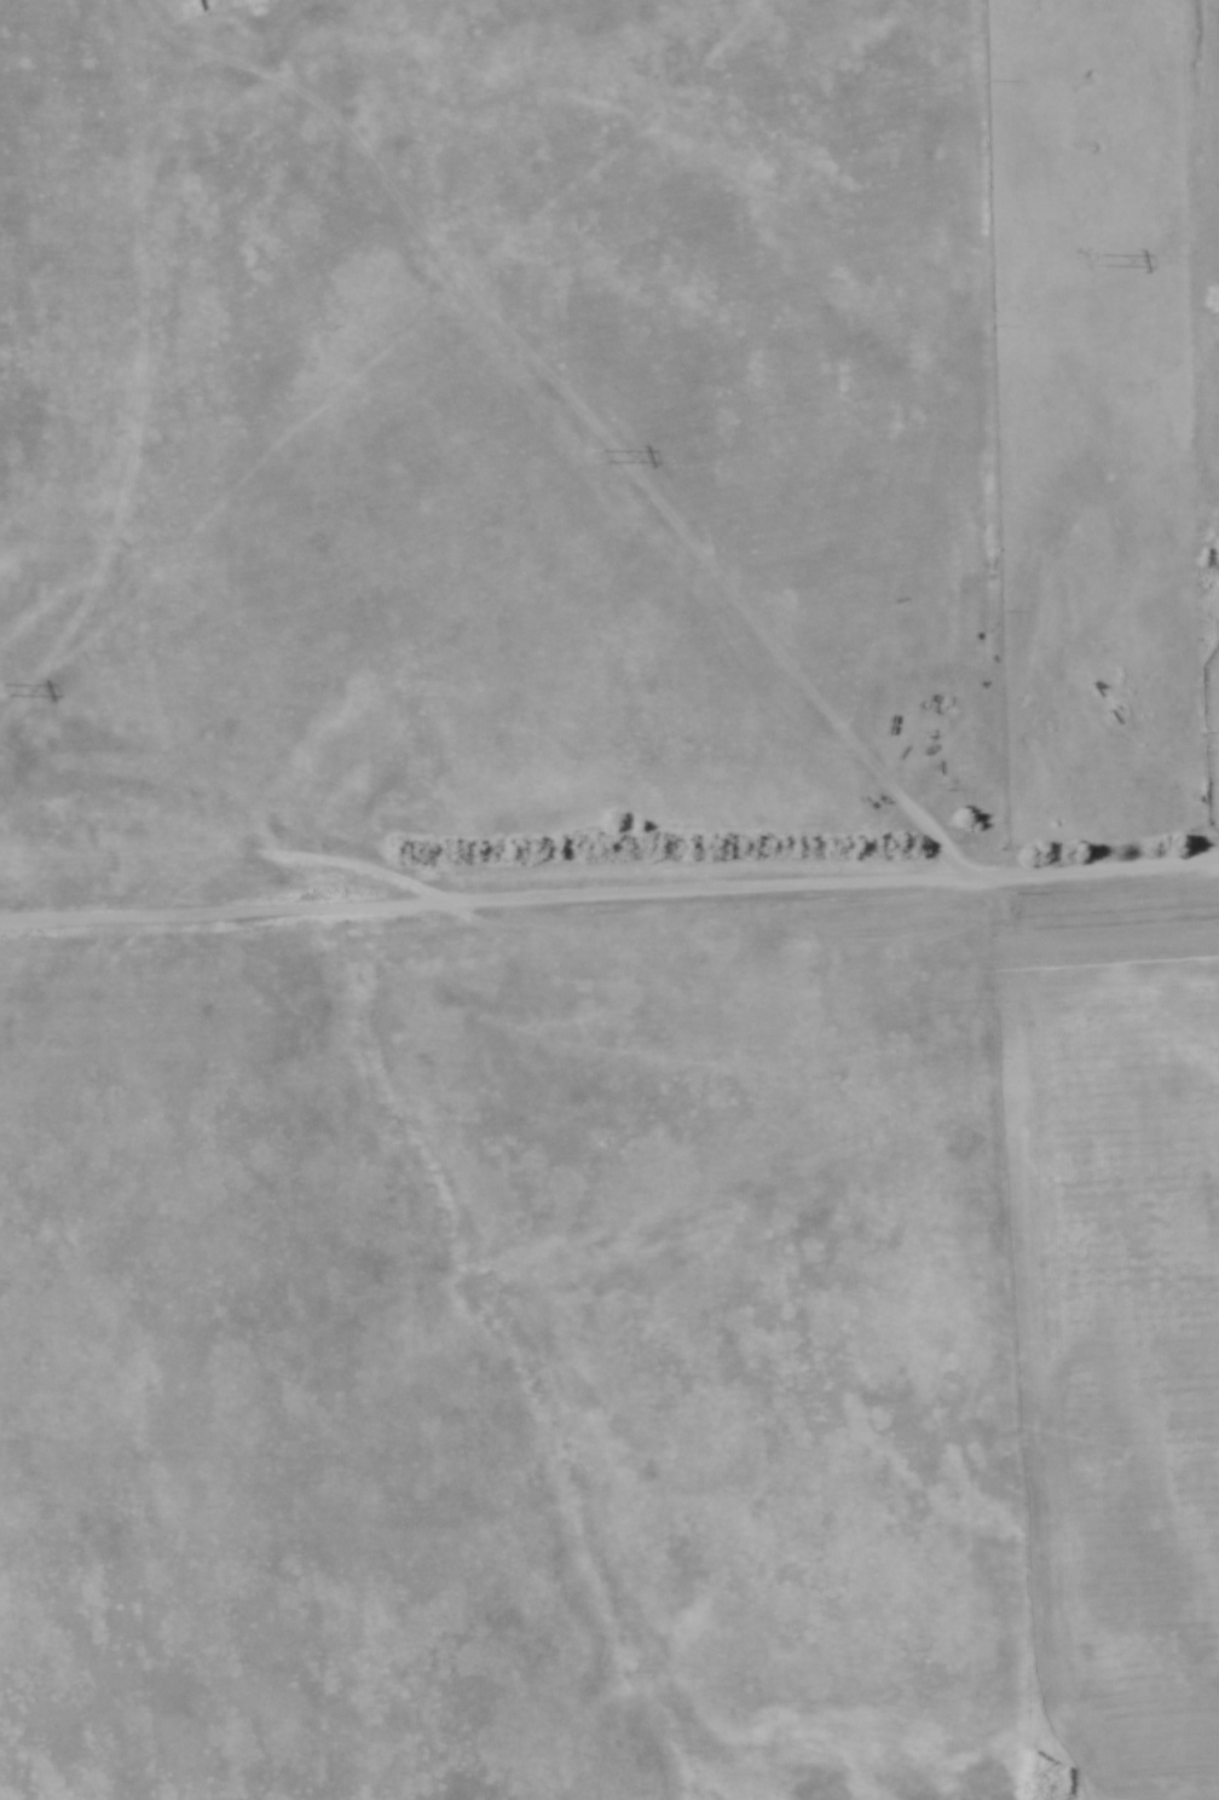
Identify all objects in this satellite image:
power tower: (1088, 261)
power tower: (590, 457)
road: (609, 894)

